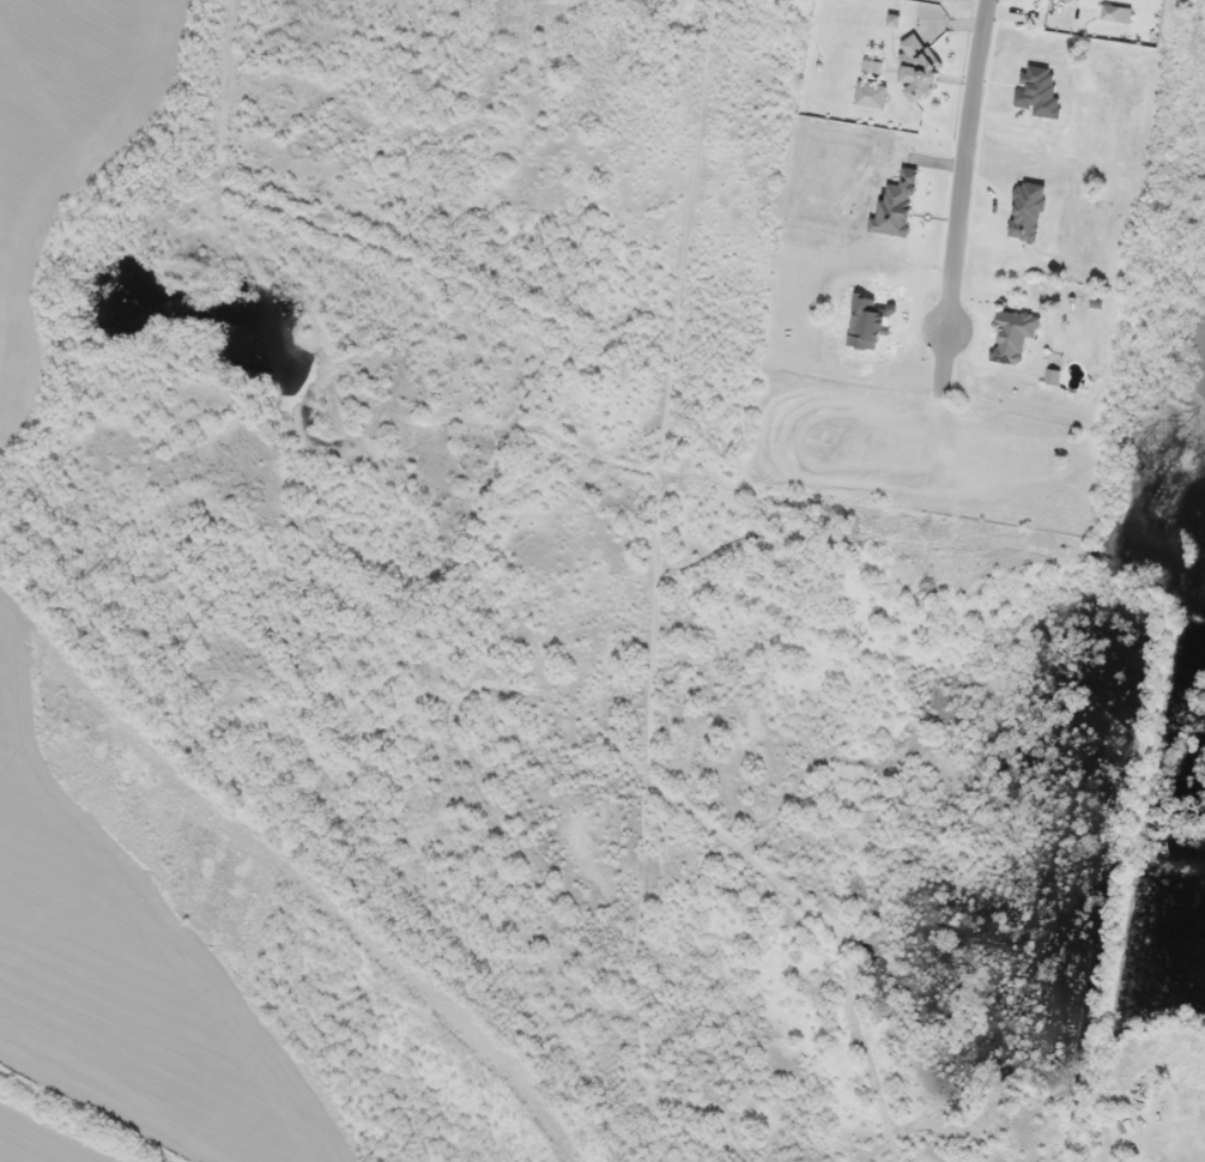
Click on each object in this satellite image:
building: (1071, 0)
building: (1116, 13)
road: (961, 198)
building: (1013, 334)

